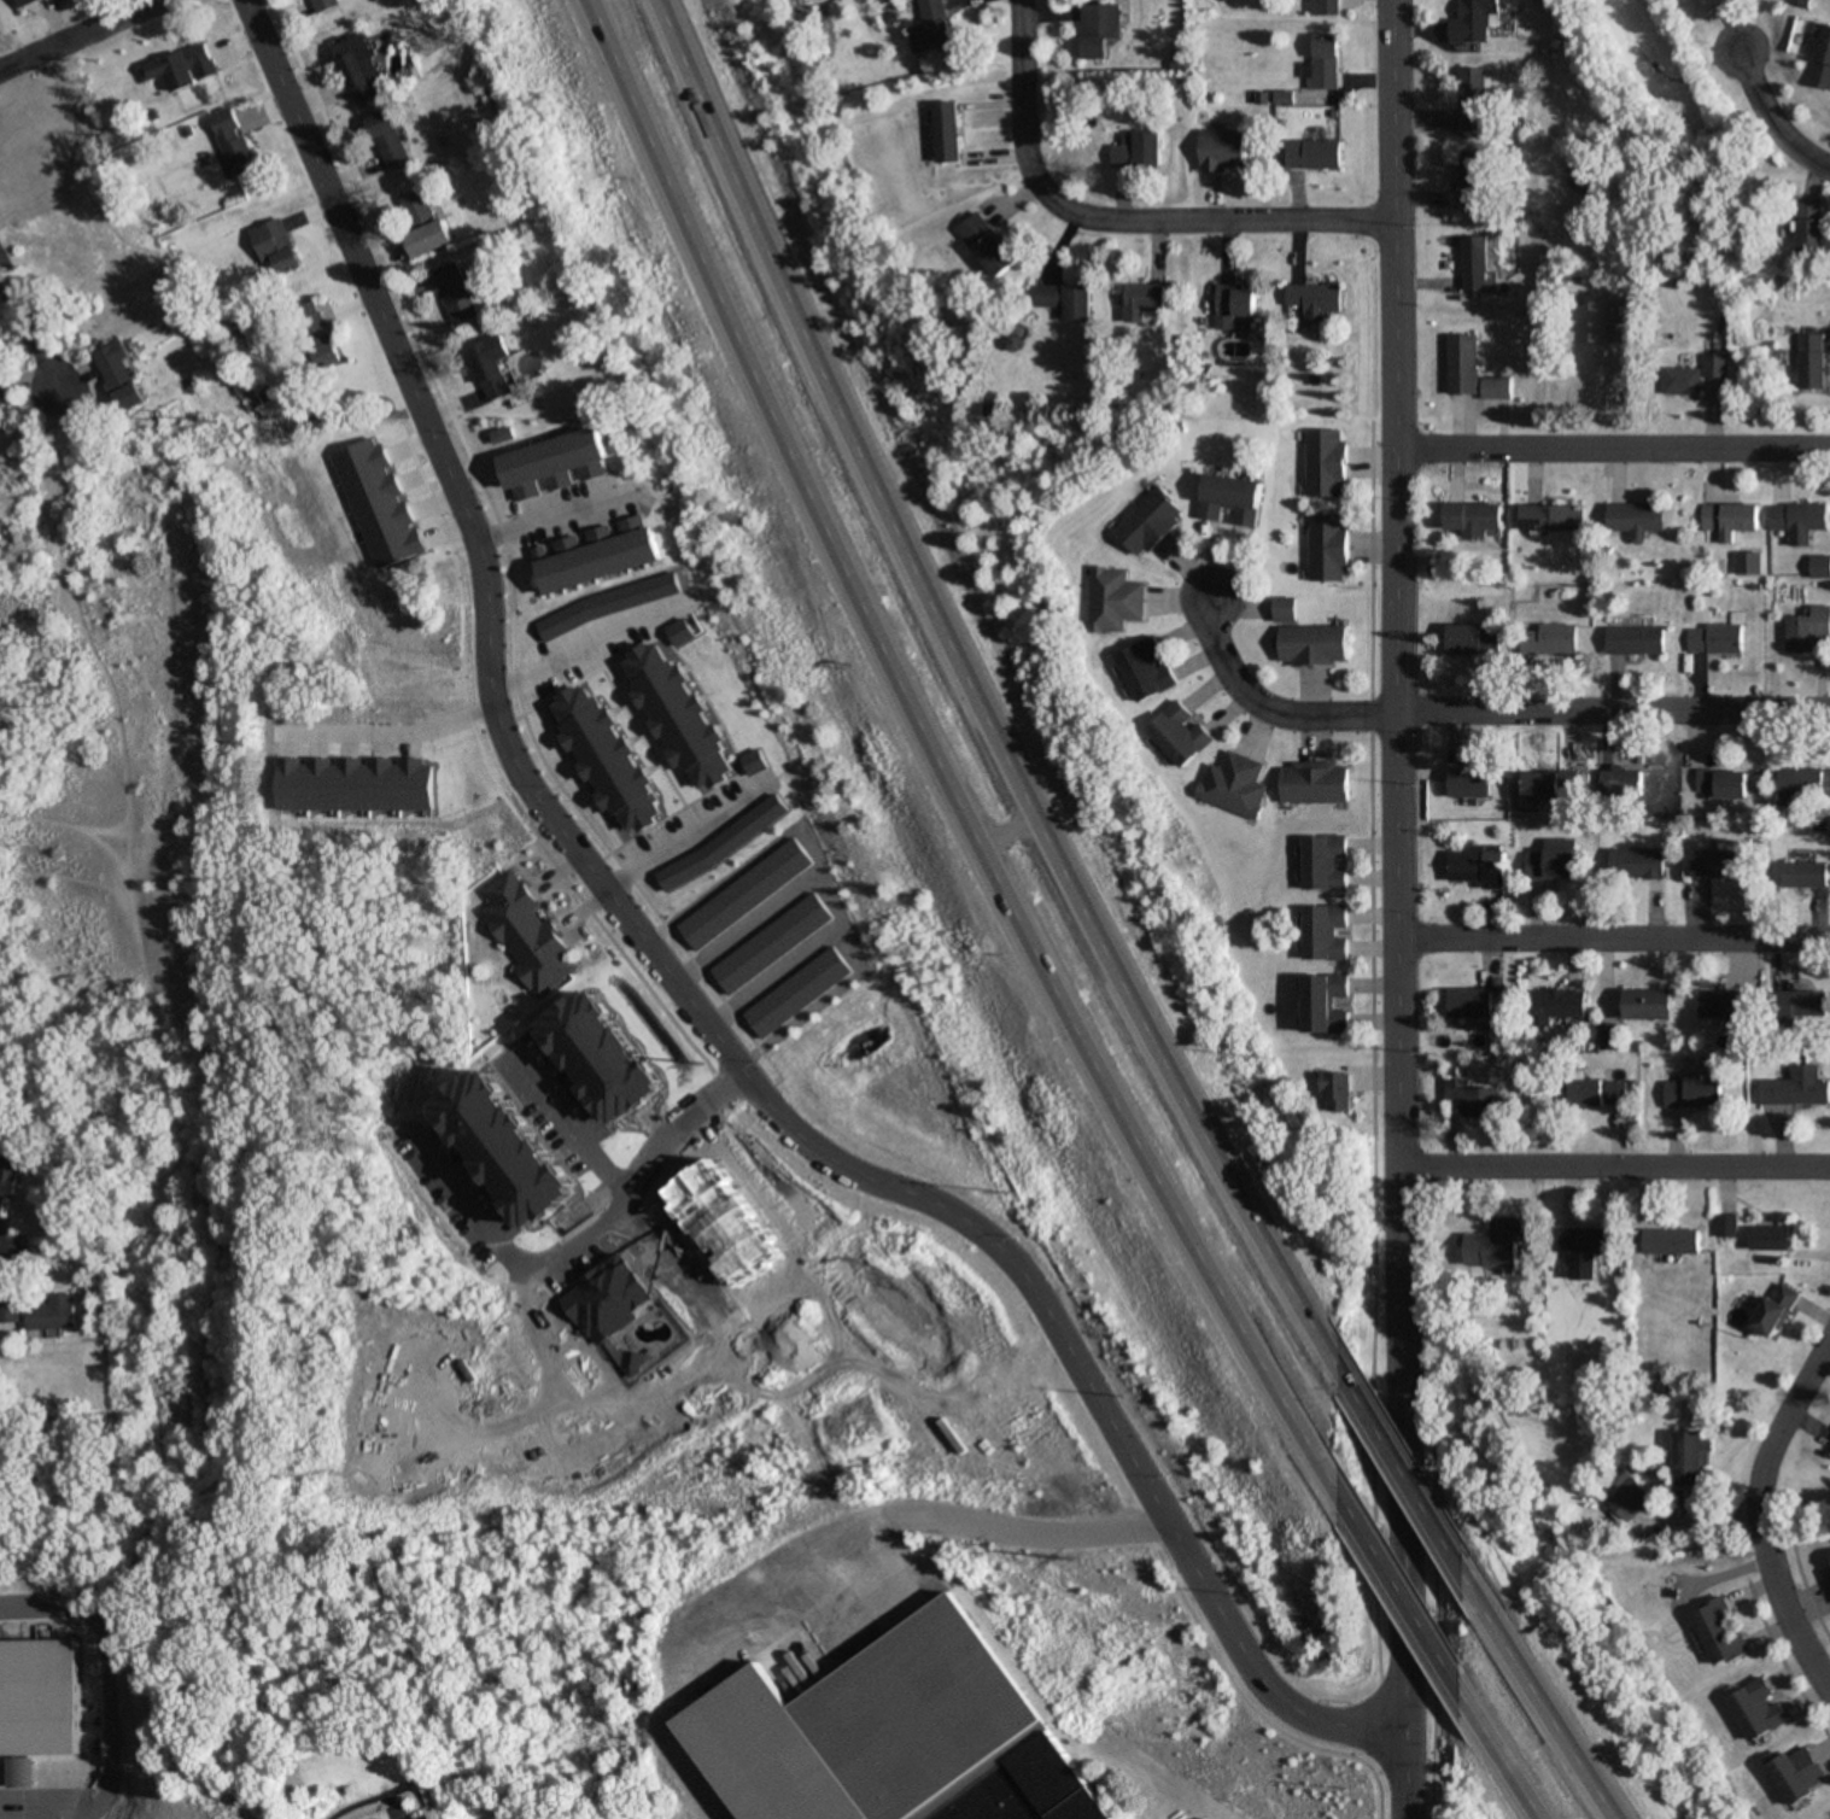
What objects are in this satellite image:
building: (22, 1)
building: (322, 5)
building: (1323, 7)
building: (1468, 22)
building: (931, 27)
building: (1099, 29)
road: (77, 33)
building: (1323, 63)
building: (1822, 63)
building: (182, 69)
building: (357, 69)
building: (1469, 100)
road: (1767, 123)
park: (1608, 127)
building: (948, 133)
building: (386, 140)
building: (230, 142)
building: (1138, 151)
building: (1312, 154)
building: (1472, 179)
road: (329, 194)
building: (416, 210)
road: (1112, 220)
building: (1807, 227)
building: (429, 240)
building: (987, 246)
building: (273, 250)
building: (1471, 264)
building: (456, 293)
building: (1314, 300)
building: (1065, 302)
building: (1144, 302)
building: (1234, 305)
building: (311, 327)
road: (30, 334)
building: (1807, 362)
building: (491, 367)
building: (1467, 370)
building: (118, 376)
building: (1690, 376)
building: (0, 381)
road: (425, 415)
power tower: (206, 417)
road: (1610, 446)
building: (1323, 462)
building: (1233, 497)
road: (545, 517)
building: (1549, 517)
building: (1471, 519)
building: (1727, 519)
building: (1635, 520)
building: (1795, 520)
building: (1150, 521)
building: (1326, 546)
building: (1746, 562)
building: (1818, 566)
building: (1113, 599)
building: (1284, 608)
building: (1805, 628)
building: (1472, 638)
building: (1714, 638)
building: (1550, 639)
building: (1636, 639)
building: (1314, 644)
road: (581, 650)
building: (1146, 668)
road: (970, 706)
road: (1264, 708)
road: (1612, 710)
building: (1179, 732)
road: (939, 762)
building: (1314, 782)
building: (1625, 782)
building: (1472, 783)
building: (1803, 783)
building: (1233, 784)
building: (1719, 784)
building: (1551, 785)
road: (677, 834)
building: (1553, 860)
building: (1326, 861)
building: (1720, 861)
building: (1635, 864)
building: (1479, 865)
building: (1807, 875)
road: (818, 878)
road: (1395, 909)
road: (739, 928)
building: (1325, 932)
road: (1613, 937)
road: (766, 973)
building: (1326, 1002)
building: (1472, 1002)
building: (1725, 1002)
building: (1557, 1004)
building: (1649, 1004)
building: (1805, 1004)
power tower: (692, 1060)
building: (1797, 1087)
building: (1339, 1092)
building: (1600, 1092)
building: (1695, 1092)
building: (1475, 1098)
road: (177, 1156)
road: (1614, 1166)
road: (834, 1168)
building: (10, 1174)
road: (622, 1181)
building: (1727, 1226)
road: (111, 1238)
building: (1770, 1238)
building: (1499, 1240)
building: (1673, 1241)
building: (1588, 1248)
building: (1773, 1309)
building: (10, 1310)
building: (53, 1311)
building: (1829, 1447)
building: (1688, 1458)
road: (1413, 1486)
building: (1623, 1496)
road: (1754, 1511)
road: (818, 1556)
power tower: (1065, 1558)
building: (1826, 1566)
road: (1407, 1605)
building: (1719, 1630)
road: (90, 1680)
building: (33, 1701)
road: (1545, 1704)
building: (1755, 1708)
building: (939, 1729)
road: (1505, 1765)
building: (1796, 1773)
parking lot: (28, 1805)
road: (35, 1812)

